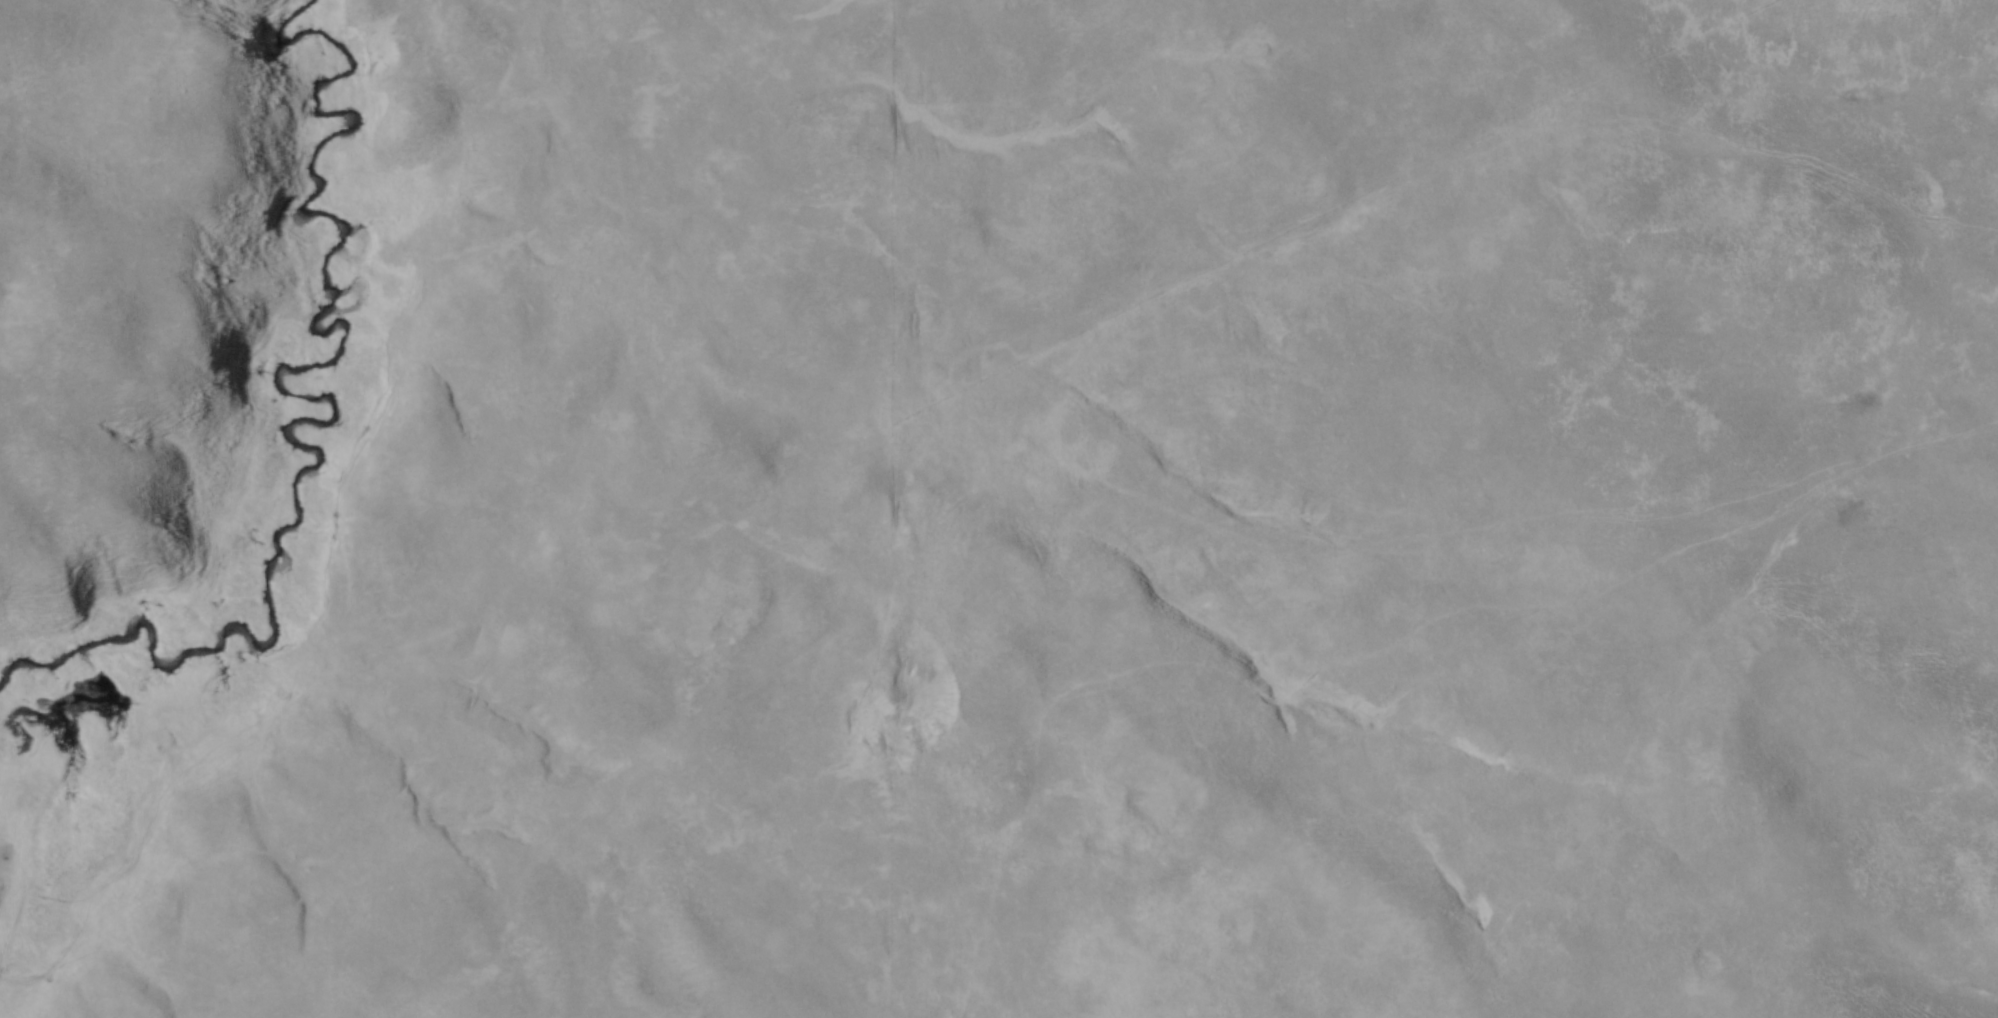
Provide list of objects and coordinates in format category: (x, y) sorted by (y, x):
river: (306, 480)

